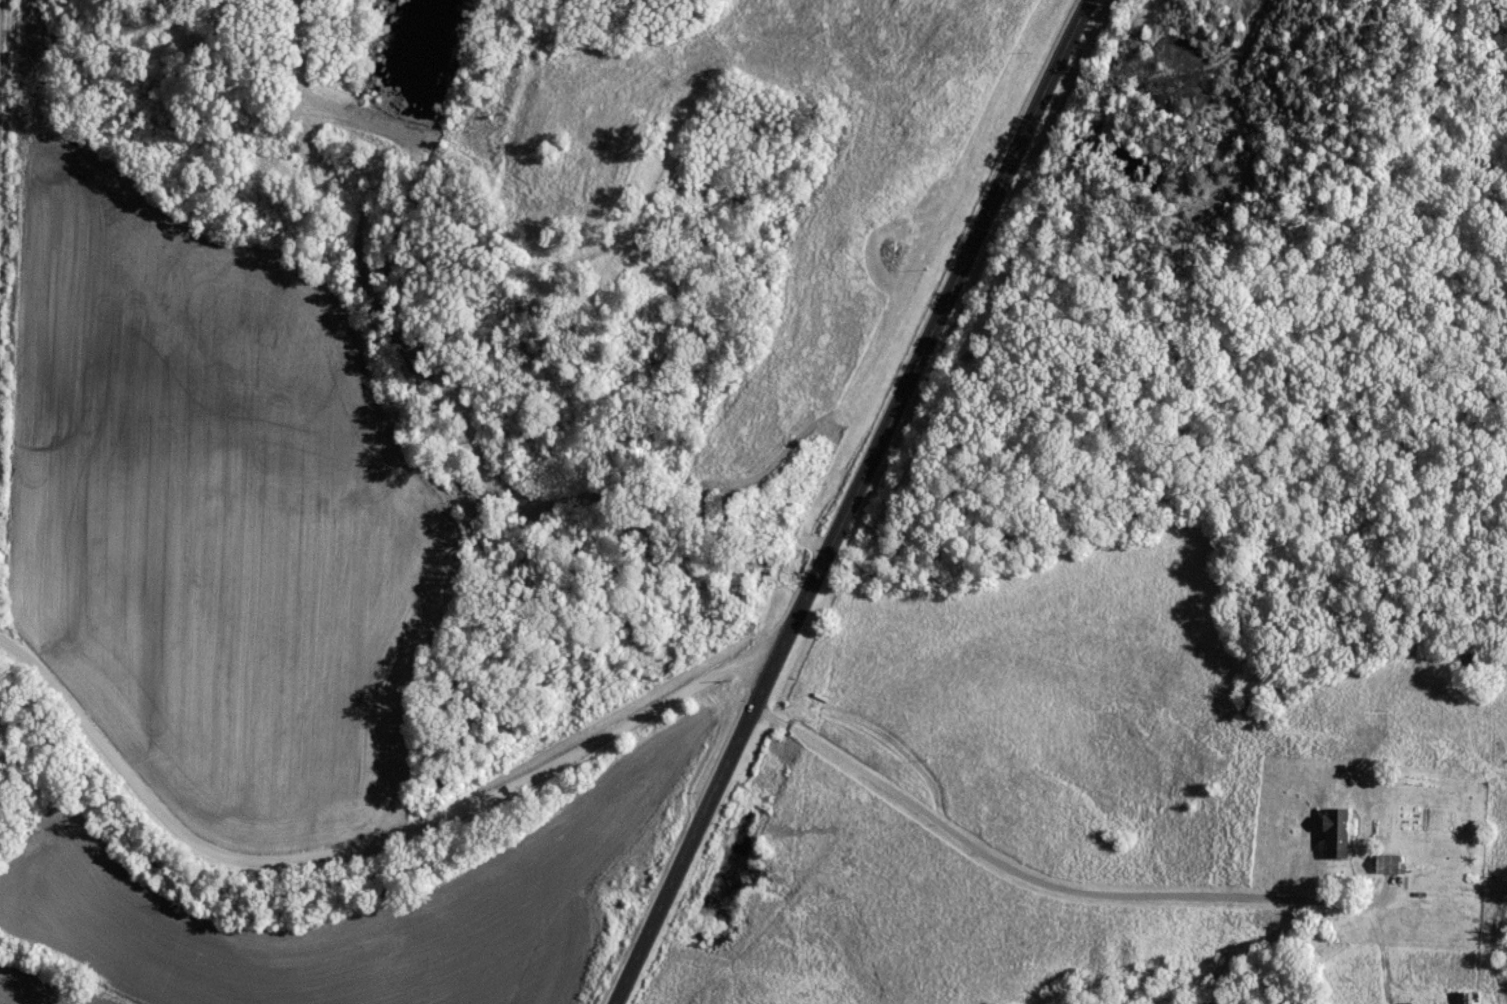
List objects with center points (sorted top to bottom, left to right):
road: (857, 502)
building: (1332, 835)
road: (370, 847)
building: (1386, 865)
road: (1024, 874)
building: (1467, 998)

